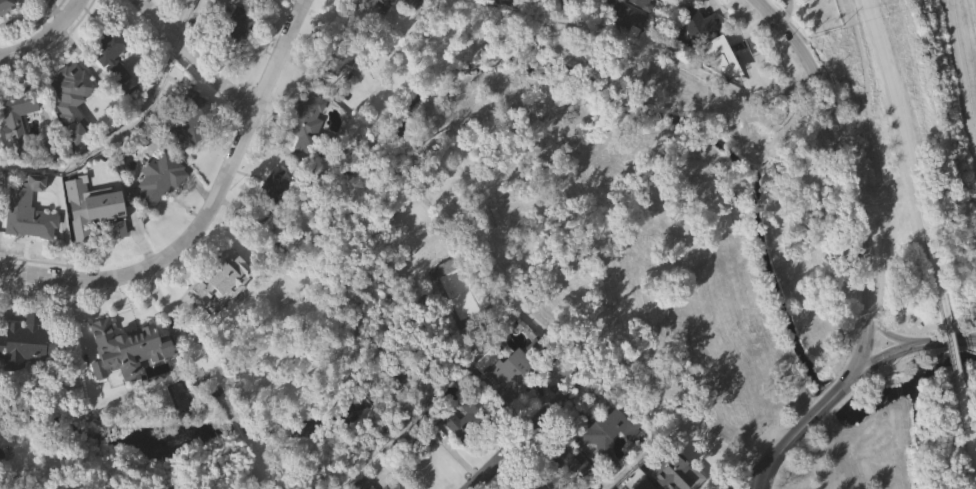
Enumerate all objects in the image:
building: (382, 1)
building: (256, 2)
building: (511, 2)
building: (641, 2)
building: (34, 3)
building: (400, 4)
building: (660, 4)
building: (684, 4)
building: (475, 5)
building: (8, 6)
building: (365, 6)
building: (264, 14)
building: (419, 16)
road: (180, 17)
building: (621, 17)
building: (693, 26)
building: (226, 29)
building: (7, 30)
road: (47, 39)
building: (624, 46)
building: (343, 49)
building: (111, 53)
building: (240, 54)
building: (719, 56)
road: (194, 57)
building: (695, 57)
building: (114, 85)
building: (725, 87)
building: (69, 91)
park: (903, 104)
building: (12, 120)
building: (189, 120)
building: (306, 124)
building: (74, 129)
road: (114, 139)
building: (19, 146)
building: (191, 148)
road: (842, 148)
building: (308, 152)
road: (908, 155)
building: (158, 177)
building: (271, 196)
building: (89, 200)
building: (159, 210)
road: (207, 212)
building: (27, 216)
building: (77, 218)
building: (29, 249)
park: (698, 250)
building: (222, 278)
building: (222, 307)
building: (120, 327)
road: (891, 339)
building: (28, 343)
road: (863, 347)
road: (909, 347)
road: (954, 355)
building: (510, 368)
building: (27, 372)
building: (128, 377)
road: (837, 391)
building: (506, 401)
building: (475, 413)
road: (674, 426)
building: (605, 430)
road: (519, 431)
road: (969, 438)
road: (785, 444)
building: (464, 446)
building: (610, 459)
building: (564, 464)
building: (673, 472)
road: (748, 481)
building: (359, 484)
building: (567, 484)
building: (642, 485)
building: (392, 486)
building: (531, 488)

